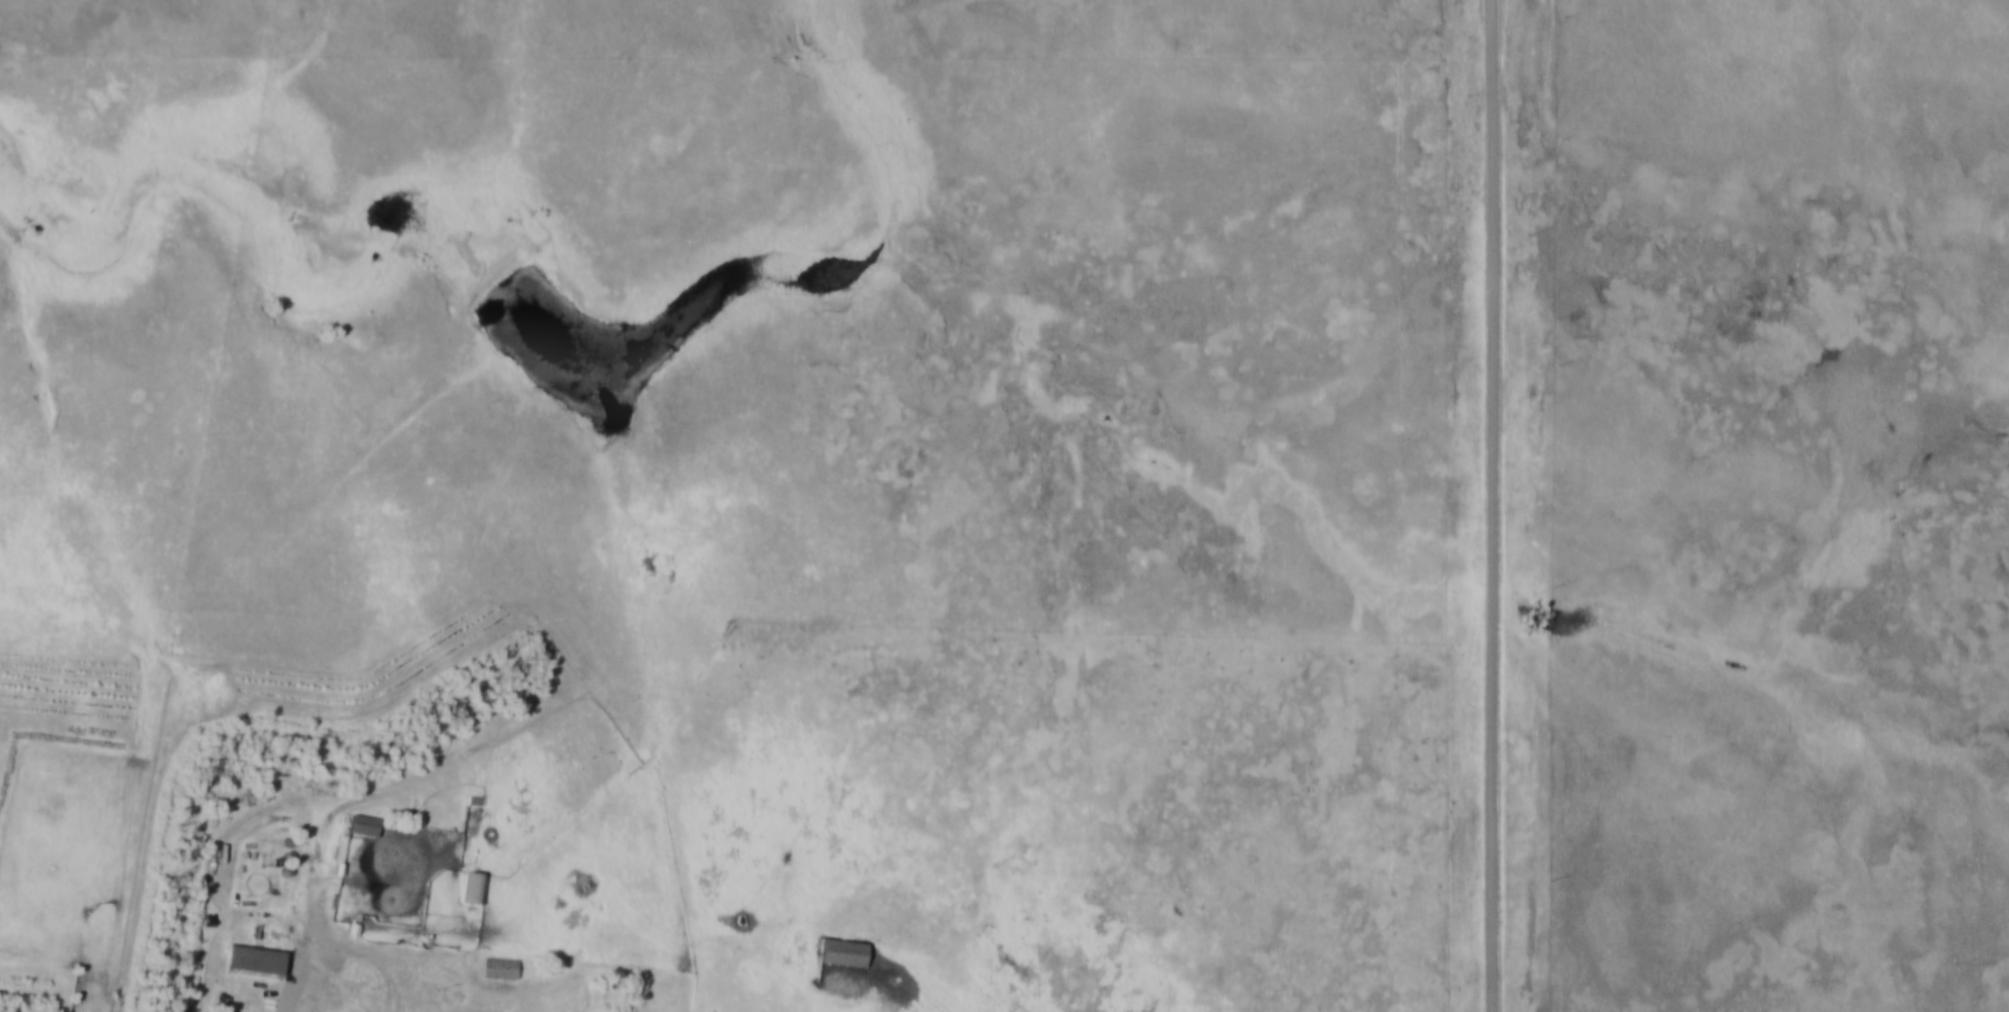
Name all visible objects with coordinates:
road: (1495, 505)
building: (479, 804)
building: (379, 832)
building: (294, 845)
silo: (294, 845)
building: (344, 872)
building: (291, 877)
silo: (291, 877)
building: (475, 889)
building: (357, 935)
building: (849, 953)
building: (256, 962)
building: (500, 970)

